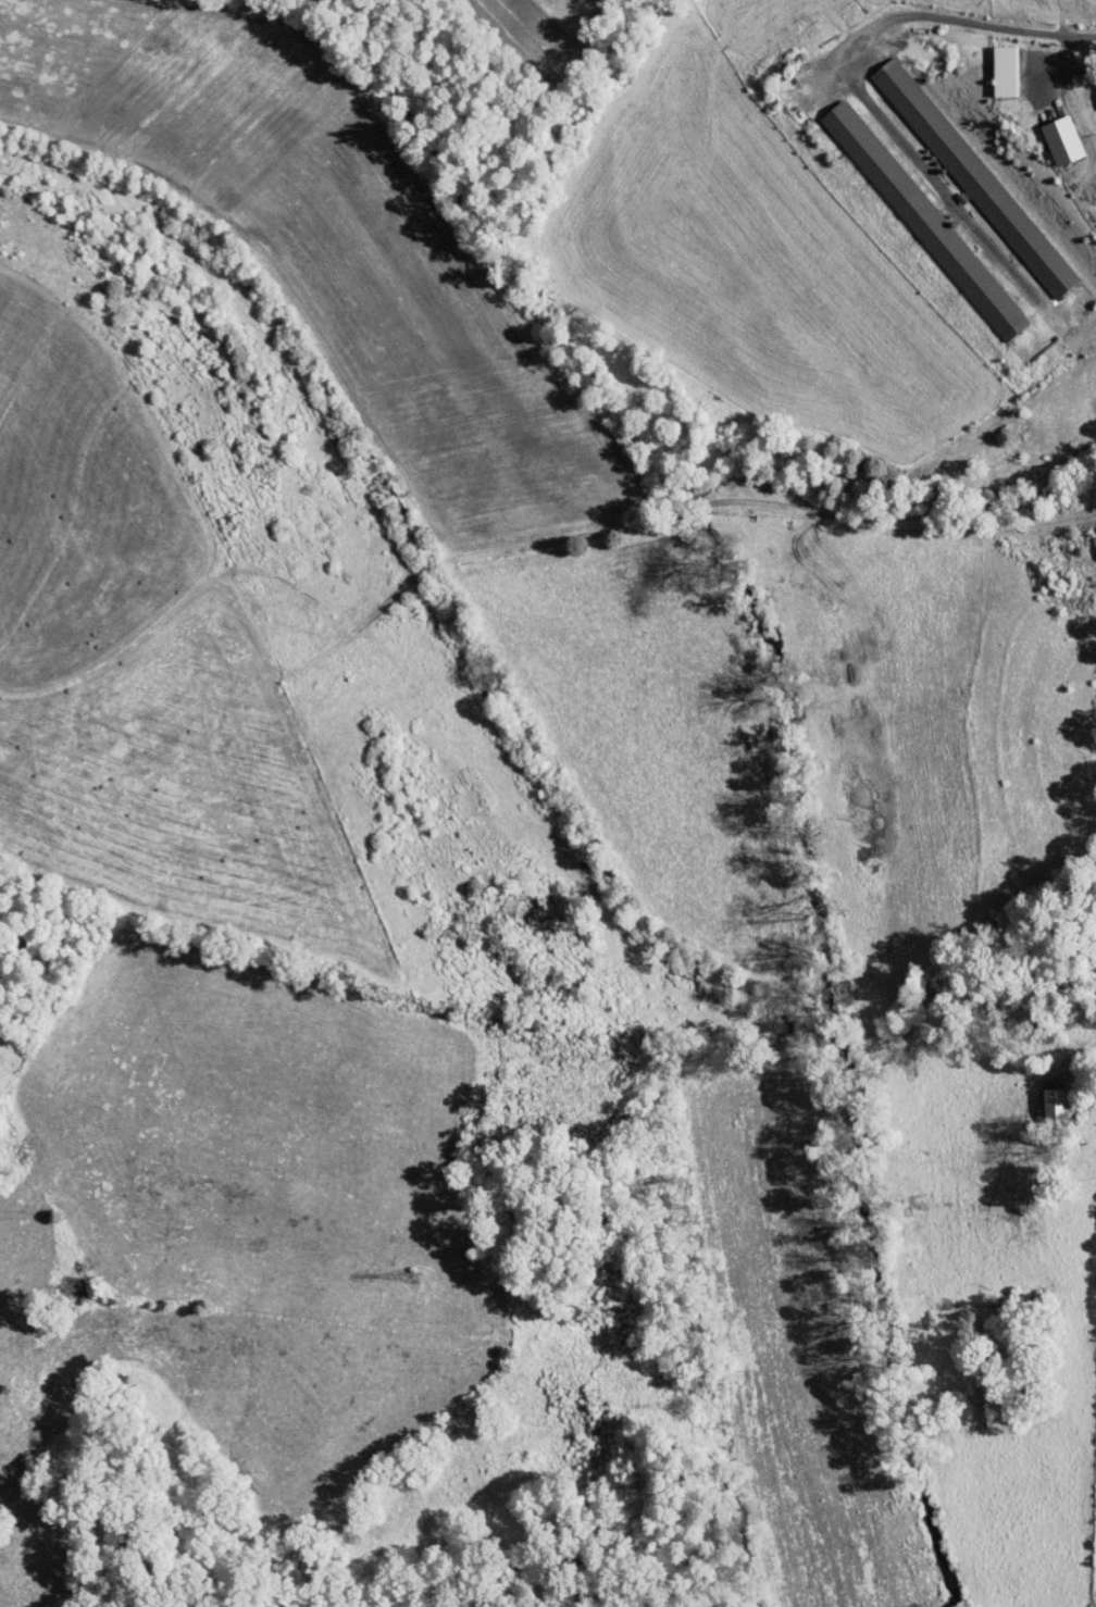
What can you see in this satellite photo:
building: (993, 63)
road: (843, 78)
building: (1095, 83)
building: (1049, 133)
building: (959, 167)
building: (911, 213)
road: (520, 546)
building: (1043, 1093)
power tower: (413, 1276)
power tower: (676, 1407)

